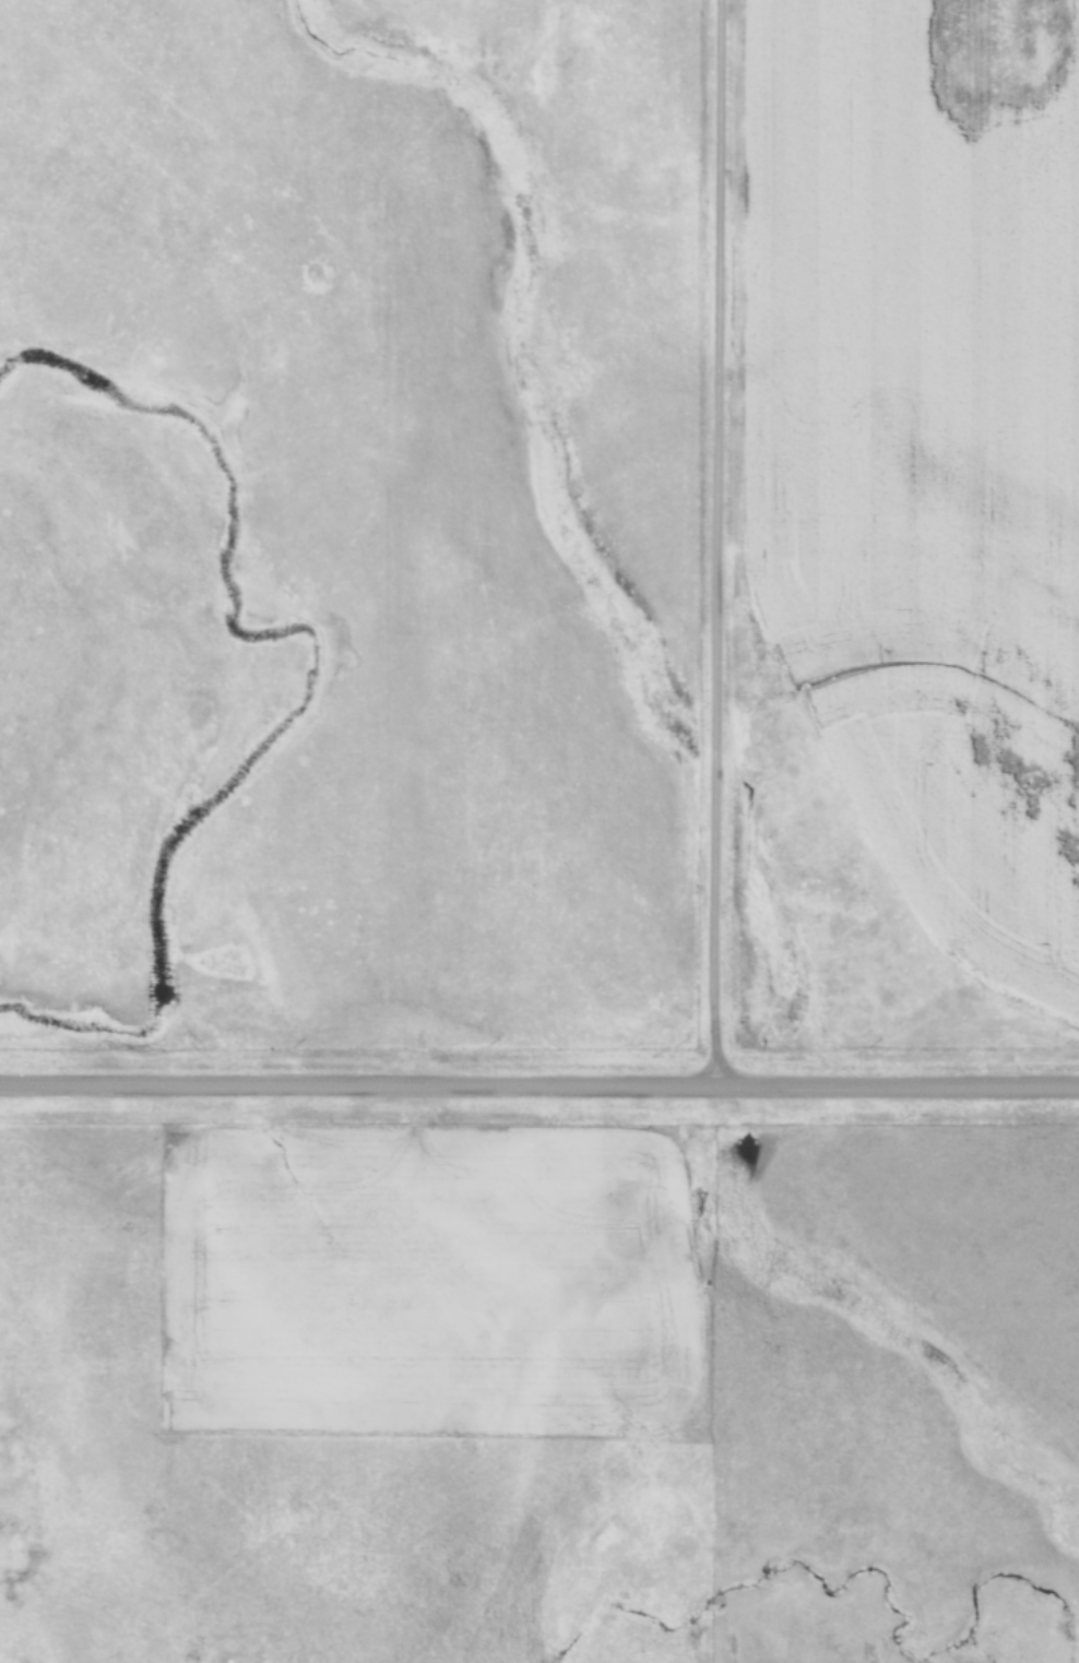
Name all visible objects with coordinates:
road: (720, 542)
road: (359, 1084)
road: (899, 1084)

